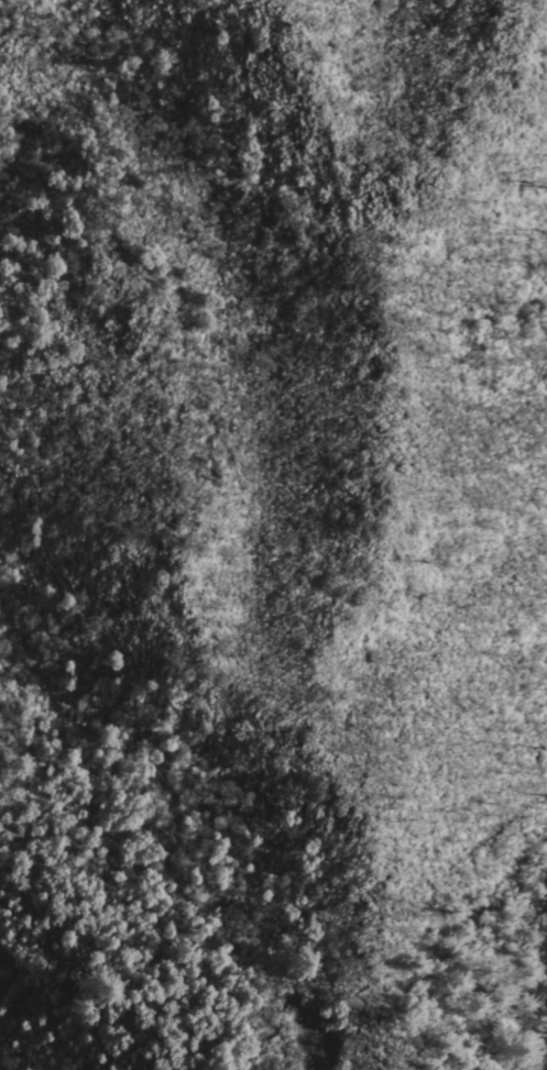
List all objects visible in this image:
road: (11, 66)

